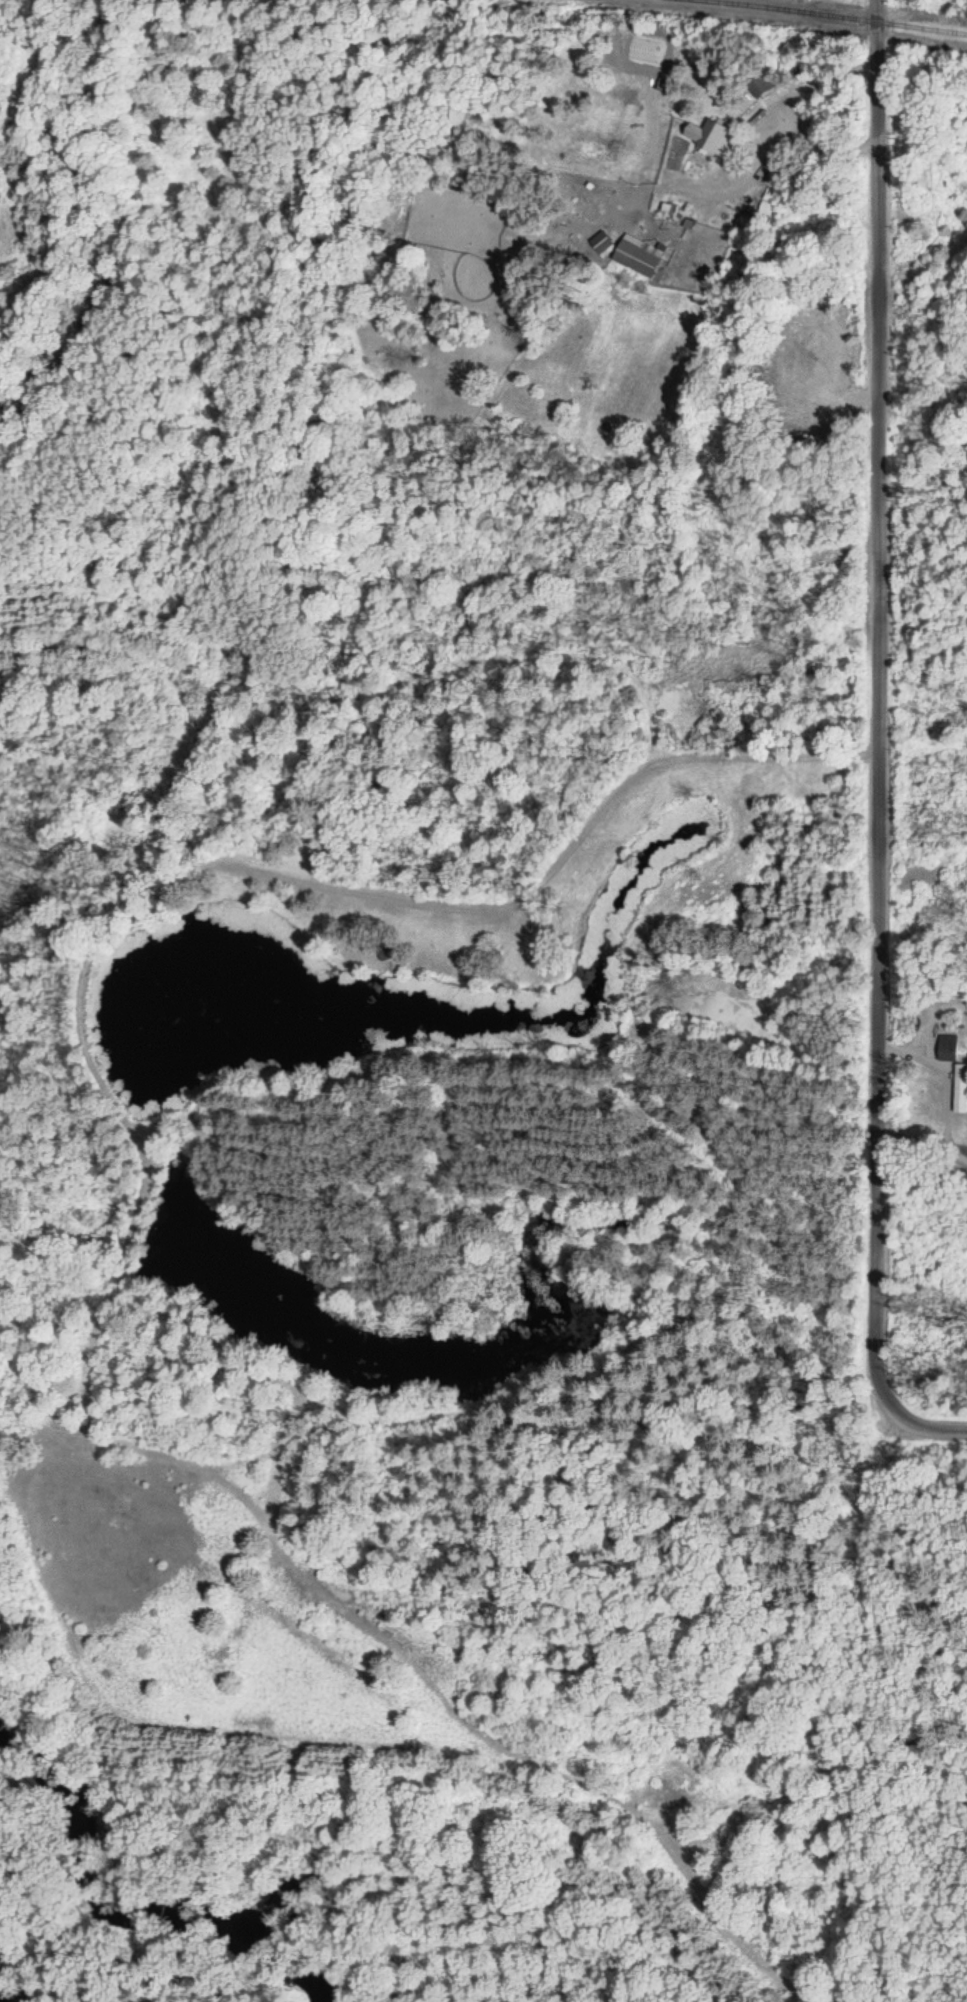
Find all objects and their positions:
railway: (833, 14)
building: (757, 82)
building: (708, 136)
building: (602, 243)
building: (637, 255)
road: (862, 699)
building: (948, 1051)
building: (960, 1088)
road: (902, 1429)

